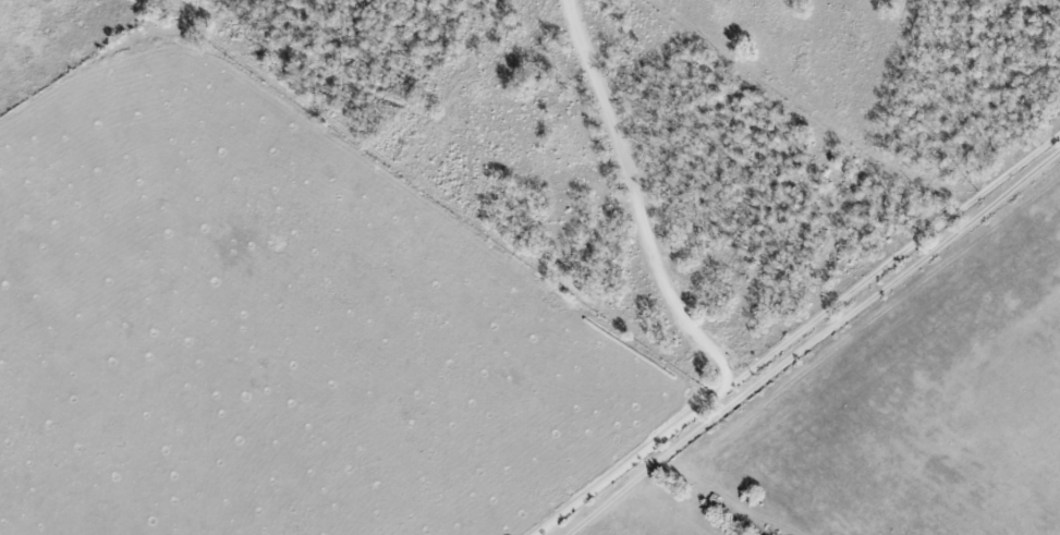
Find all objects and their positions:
road: (642, 196)
road: (797, 333)

